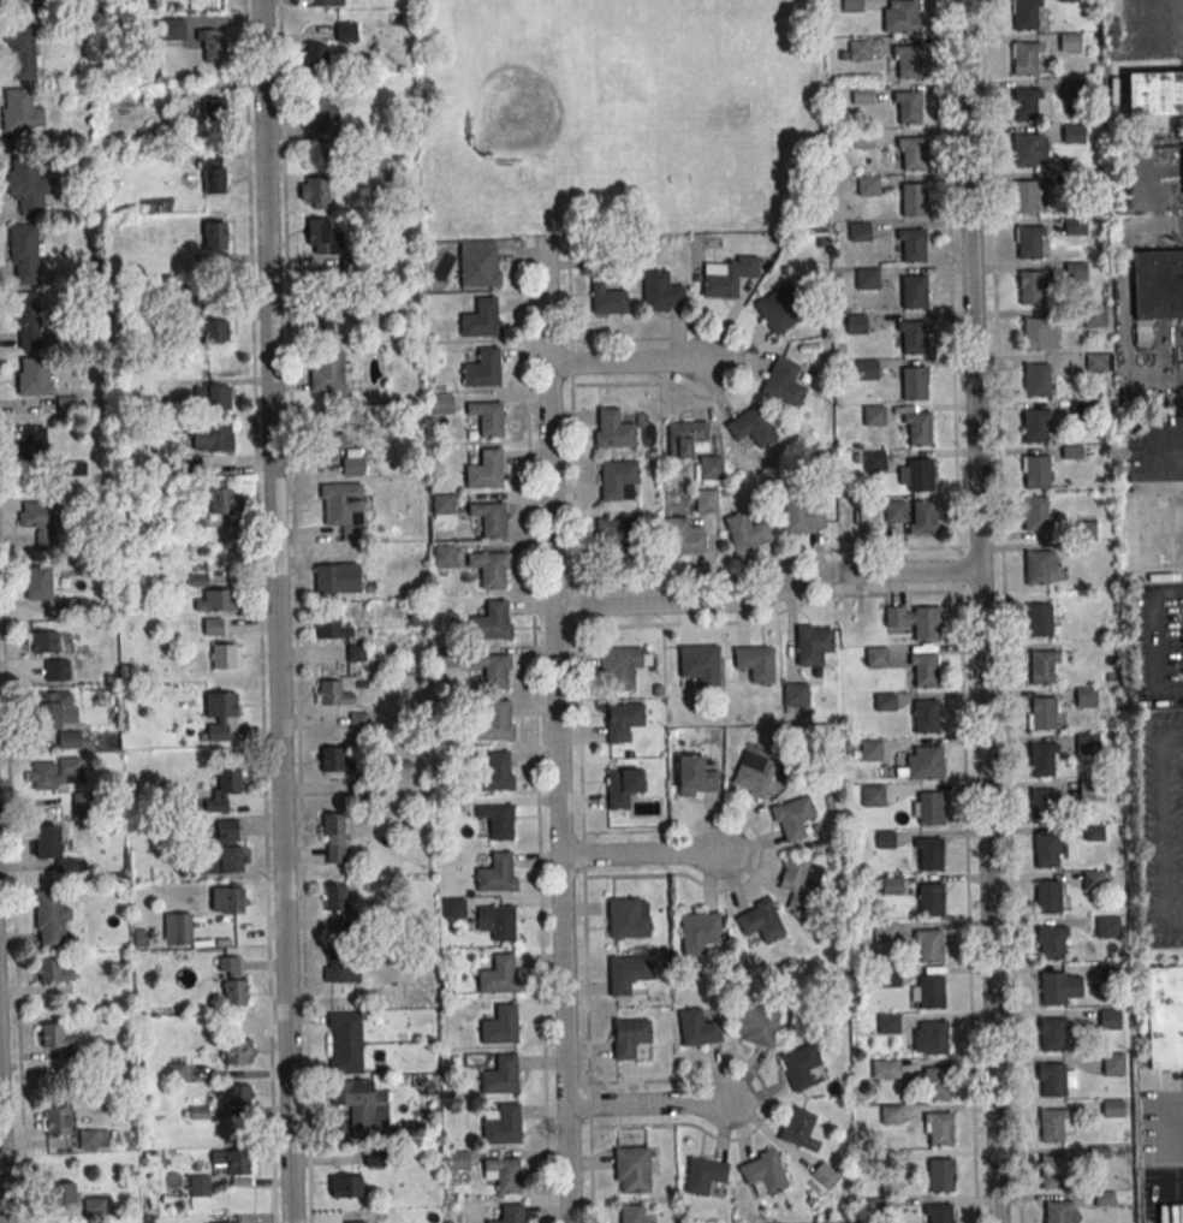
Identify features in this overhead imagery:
building: (1069, 0)
building: (323, 2)
building: (851, 5)
building: (1026, 14)
building: (904, 16)
road: (1157, 18)
building: (173, 29)
building: (1069, 42)
building: (212, 46)
building: (20, 49)
building: (860, 49)
building: (315, 58)
building: (1026, 58)
building: (908, 61)
building: (1072, 89)
building: (1154, 93)
building: (157, 94)
building: (862, 94)
building: (1026, 103)
building: (214, 108)
building: (909, 108)
building: (20, 113)
park: (619, 113)
building: (325, 119)
building: (1072, 133)
building: (863, 138)
building: (1026, 150)
building: (912, 155)
building: (214, 174)
building: (1072, 180)
building: (28, 186)
building: (868, 186)
building: (314, 192)
building: (1024, 196)
building: (914, 200)
building: (1074, 225)
building: (860, 232)
building: (214, 234)
building: (322, 237)
building: (1029, 242)
building: (914, 245)
building: (24, 254)
building: (480, 265)
building: (1075, 271)
building: (727, 275)
building: (868, 279)
building: (1158, 284)
building: (1032, 287)
building: (660, 291)
building: (914, 292)
building: (607, 299)
building: (779, 308)
building: (1094, 316)
building: (481, 319)
building: (28, 320)
building: (320, 321)
building: (856, 325)
building: (208, 328)
building: (1035, 333)
building: (914, 337)
road: (636, 361)
building: (1095, 362)
road: (1163, 362)
building: (482, 369)
building: (327, 370)
building: (867, 370)
building: (35, 375)
building: (1036, 380)
building: (784, 382)
building: (914, 384)
building: (215, 397)
building: (441, 404)
building: (873, 416)
building: (487, 417)
building: (1035, 426)
building: (750, 427)
building: (613, 429)
building: (919, 431)
building: (212, 437)
building: (32, 440)
building: (694, 446)
building: (340, 452)
building: (874, 462)
building: (190, 464)
building: (486, 470)
building: (1035, 471)
building: (920, 475)
building: (618, 480)
building: (221, 498)
building: (344, 507)
building: (894, 512)
building: (1035, 513)
building: (804, 515)
building: (925, 517)
building: (489, 518)
building: (41, 523)
building: (1083, 532)
building: (747, 533)
building: (613, 538)
building: (685, 539)
building: (444, 556)
building: (1038, 566)
building: (489, 568)
building: (337, 577)
building: (38, 583)
road: (768, 593)
building: (214, 600)
road: (275, 611)
road: (959, 611)
road: (981, 611)
road: (1001, 611)
building: (1039, 621)
building: (491, 622)
building: (926, 623)
building: (213, 625)
building: (331, 627)
road: (1158, 642)
building: (812, 643)
building: (55, 654)
building: (222, 654)
building: (876, 657)
building: (755, 663)
building: (697, 665)
building: (620, 666)
building: (1042, 667)
building: (492, 670)
building: (925, 672)
building: (332, 694)
building: (795, 694)
building: (1084, 696)
building: (884, 701)
building: (55, 708)
building: (219, 713)
building: (1044, 714)
building: (926, 717)
building: (624, 720)
building: (493, 723)
road: (555, 730)
road: (579, 730)
road: (536, 731)
building: (69, 740)
building: (1087, 744)
building: (870, 749)
building: (1042, 759)
building: (333, 760)
building: (921, 764)
building: (54, 773)
building: (493, 773)
building: (753, 773)
building: (695, 776)
building: (227, 783)
building: (622, 786)
building: (1089, 788)
building: (874, 795)
building: (81, 803)
building: (1041, 805)
building: (931, 808)
building: (792, 818)
building: (497, 820)
building: (1093, 833)
building: (333, 837)
building: (50, 845)
building: (224, 850)
building: (1047, 851)
building: (931, 855)
road: (641, 859)
building: (497, 874)
building: (1092, 880)
building: (799, 884)
building: (891, 885)
building: (1048, 897)
building: (227, 900)
building: (931, 900)
building: (335, 903)
building: (453, 907)
building: (628, 918)
building: (50, 920)
building: (759, 920)
building: (497, 921)
building: (1107, 927)
building: (179, 928)
building: (701, 932)
building: (885, 932)
building: (1052, 943)
building: (931, 946)
building: (339, 964)
building: (53, 969)
building: (1108, 972)
building: (629, 975)
building: (498, 976)
building: (888, 978)
building: (232, 982)
building: (1058, 989)
building: (932, 992)
building: (1165, 1017)
building: (1108, 1019)
building: (888, 1023)
building: (755, 1025)
building: (500, 1026)
building: (697, 1028)
building: (1051, 1034)
building: (53, 1035)
building: (629, 1037)
building: (934, 1039)
building: (344, 1041)
building: (236, 1051)
building: (1113, 1063)
building: (799, 1067)
building: (890, 1069)
building: (501, 1076)
building: (1052, 1080)
building: (938, 1084)
building: (234, 1094)
building: (361, 1104)
road: (648, 1105)
building: (1112, 1110)
building: (891, 1115)
building: (54, 1121)
building: (503, 1126)
building: (1052, 1126)
building: (801, 1129)
building: (940, 1130)
building: (93, 1139)
road: (2, 1153)
road: (1170, 1156)
building: (457, 1160)
building: (894, 1160)
building: (232, 1162)
building: (631, 1169)
building: (761, 1170)
building: (1053, 1172)
building: (504, 1174)
building: (705, 1175)
building: (825, 1175)
building: (940, 1176)
building: (200, 1186)
building: (344, 1186)
building: (63, 1193)
building: (1104, 1199)
building: (94, 1206)
building: (1057, 1212)
building: (939, 1213)
building: (511, 1215)
building: (230, 1222)

